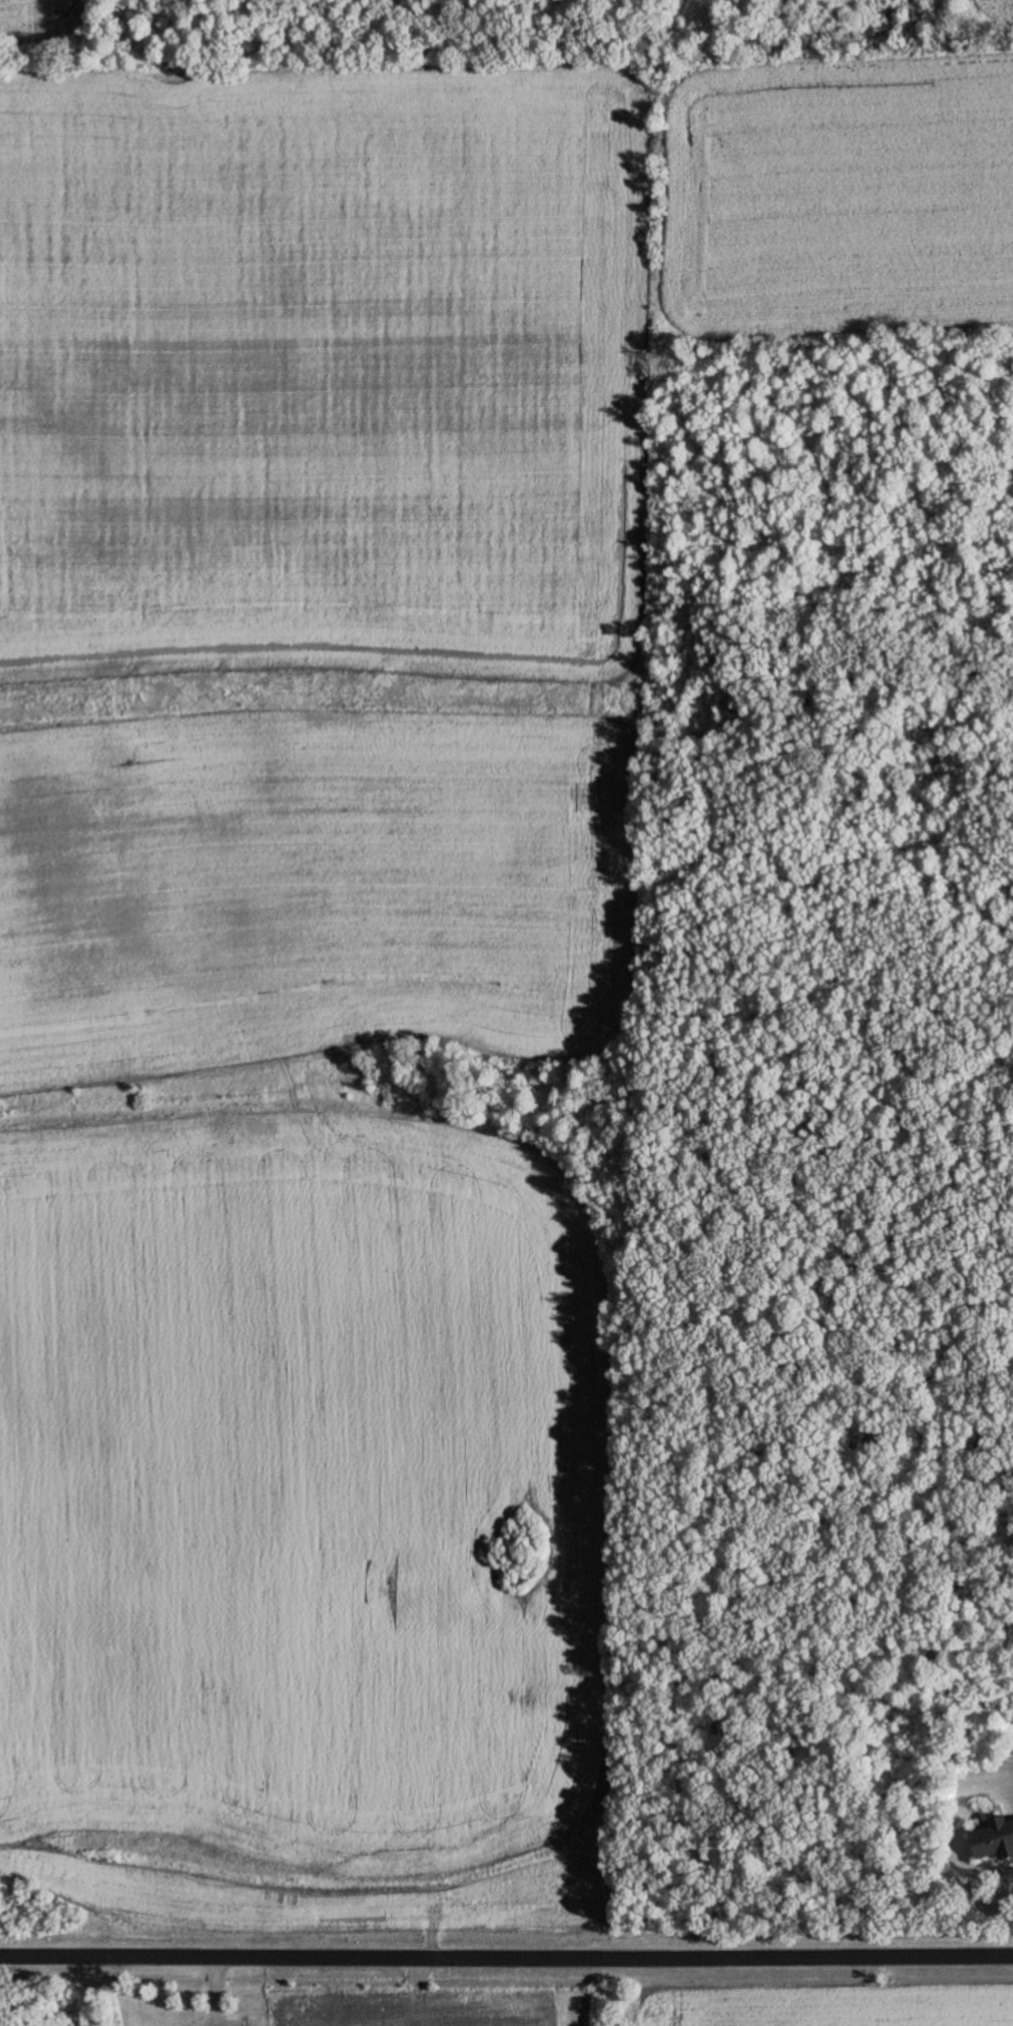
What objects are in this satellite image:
building: (995, 1840)
road: (506, 1972)

